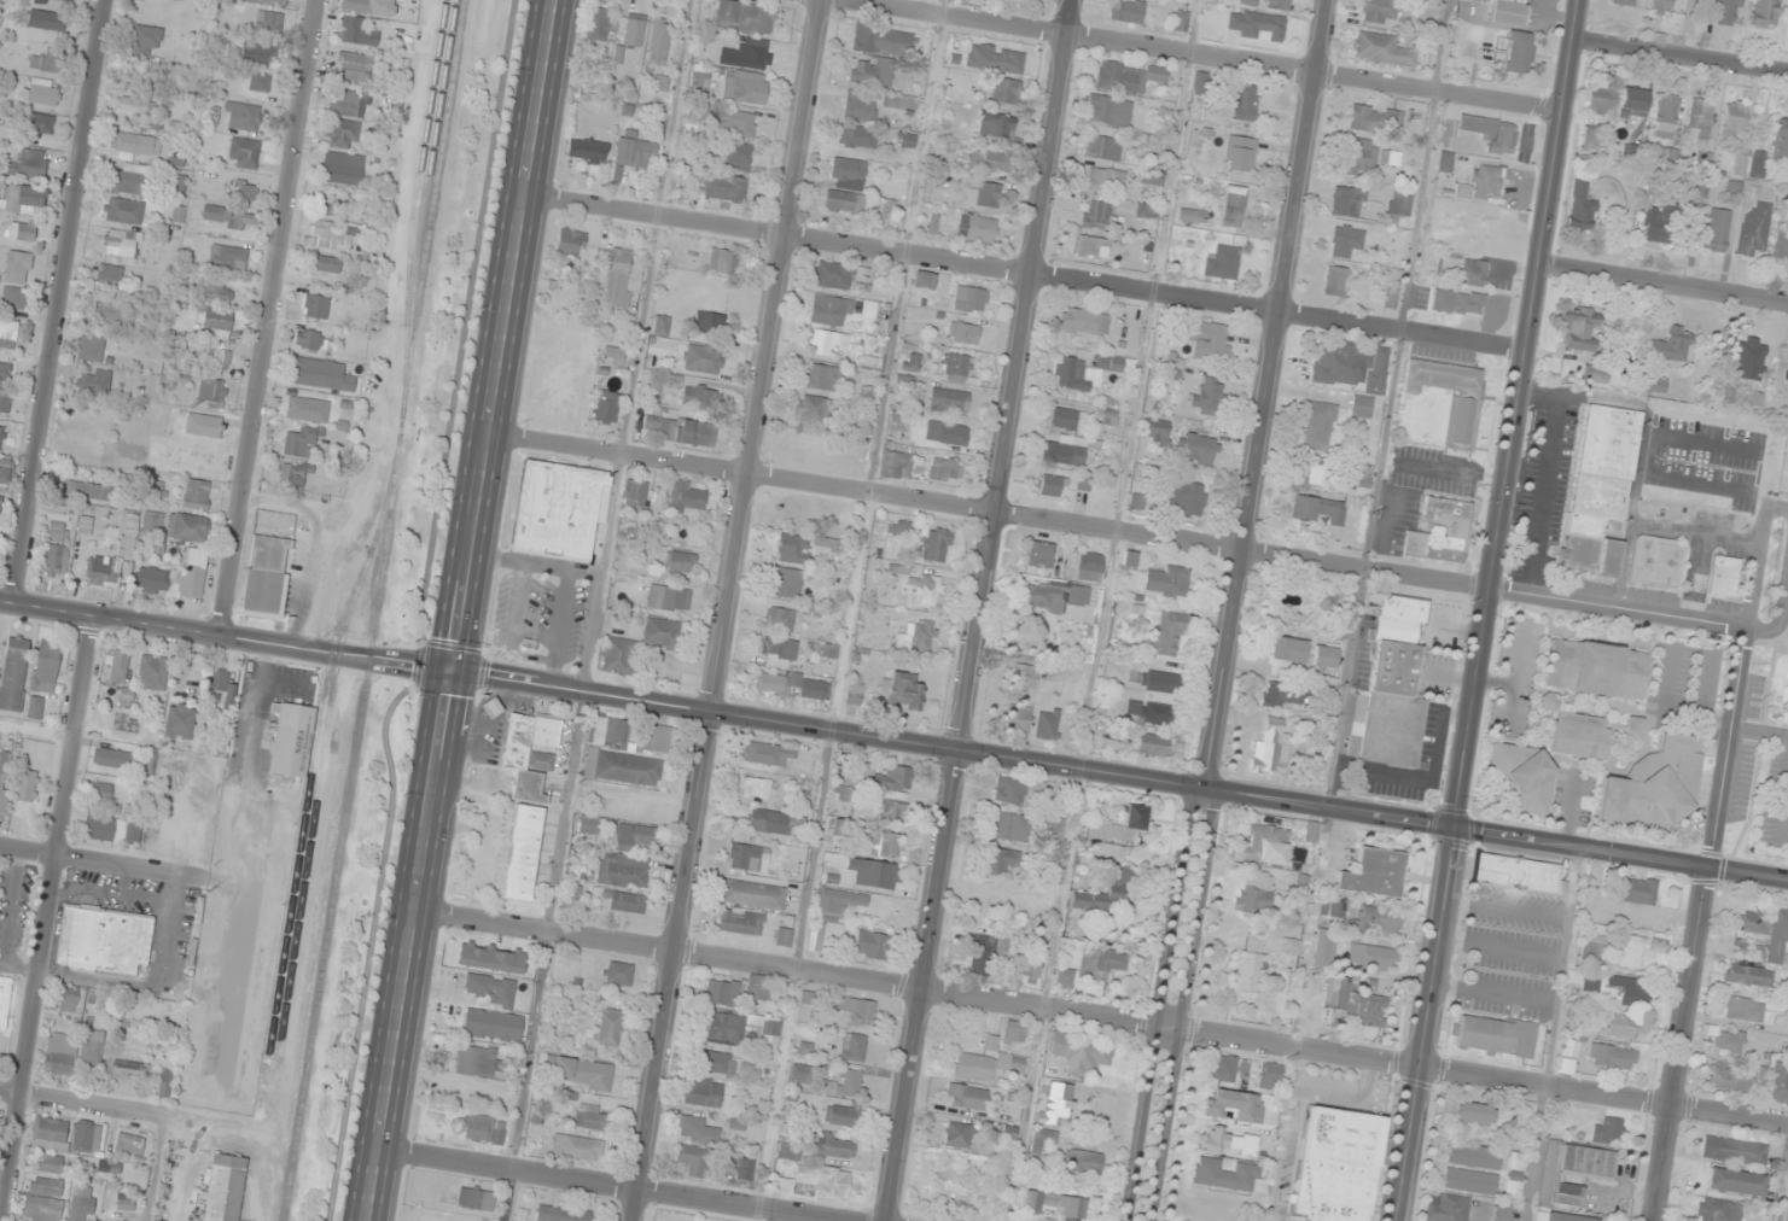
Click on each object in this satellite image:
building: (54, 1)
building: (264, 1)
building: (1623, 1)
building: (1268, 4)
building: (1664, 5)
building: (368, 6)
building: (1126, 11)
building: (1379, 11)
building: (1509, 11)
building: (1728, 12)
building: (1764, 12)
building: (744, 16)
building: (1178, 19)
building: (46, 21)
building: (267, 22)
building: (599, 24)
building: (1265, 27)
building: (635, 30)
building: (356, 31)
building: (146, 36)
building: (883, 40)
building: (659, 41)
building: (1381, 49)
building: (1518, 52)
building: (257, 53)
building: (747, 53)
road: (1196, 55)
road: (1681, 55)
building: (990, 59)
building: (43, 63)
building: (353, 65)
building: (870, 71)
building: (148, 72)
building: (700, 75)
building: (1126, 76)
building: (258, 81)
building: (745, 87)
building: (1006, 90)
building: (43, 92)
building: (1600, 98)
building: (346, 103)
building: (1245, 103)
building: (1632, 103)
building: (136, 105)
building: (860, 105)
building: (1108, 110)
building: (241, 116)
building: (1699, 117)
building: (1375, 119)
building: (1734, 119)
building: (740, 123)
building: (33, 124)
building: (996, 128)
building: (1492, 133)
building: (342, 134)
building: (857, 136)
building: (905, 140)
building: (1781, 140)
building: (136, 145)
building: (1105, 147)
building: (589, 150)
building: (634, 152)
building: (243, 153)
building: (1240, 153)
building: (1363, 156)
building: (738, 157)
building: (1391, 157)
building: (1741, 159)
building: (989, 160)
building: (1445, 160)
building: (1757, 163)
building: (29, 164)
building: (342, 168)
building: (848, 174)
building: (129, 179)
building: (1105, 180)
building: (1485, 181)
building: (244, 189)
building: (726, 191)
building: (983, 194)
building: (22, 198)
building: (1347, 201)
building: (843, 203)
building: (1397, 203)
building: (336, 204)
building: (1231, 206)
building: (1582, 208)
building: (1146, 209)
building: (123, 210)
building: (1097, 214)
building: (1192, 215)
building: (1656, 227)
building: (977, 228)
building: (1754, 228)
building: (1717, 229)
building: (22, 230)
building: (325, 234)
building: (1345, 241)
building: (120, 243)
building: (571, 243)
building: (1780, 243)
building: (1090, 246)
building: (228, 257)
building: (722, 262)
building: (325, 263)
building: (1223, 263)
building: (17, 267)
building: (1474, 273)
building: (833, 275)
road: (1024, 275)
building: (107, 277)
building: (619, 277)
building: (924, 280)
building: (1336, 280)
road: (1664, 284)
building: (219, 292)
building: (13, 297)
building: (971, 299)
road: (58, 302)
building: (1467, 303)
building: (316, 306)
building: (831, 310)
building: (112, 314)
road: (267, 319)
building: (709, 321)
building: (1084, 321)
building: (214, 322)
building: (662, 325)
building: (1579, 328)
building: (7, 333)
building: (962, 333)
building: (309, 339)
building: (1207, 339)
building: (829, 341)
building: (1672, 345)
building: (91, 347)
building: (616, 355)
building: (210, 357)
building: (701, 358)
building: (913, 362)
building: (956, 364)
building: (1350, 366)
building: (4, 368)
building: (1091, 372)
building: (1595, 373)
building: (321, 374)
building: (821, 378)
building: (93, 381)
building: (1656, 384)
building: (691, 392)
building: (211, 393)
building: (1205, 396)
building: (5, 399)
building: (949, 401)
building: (607, 405)
building: (1361, 407)
building: (307, 409)
building: (811, 409)
building: (1065, 419)
building: (898, 421)
building: (1462, 421)
building: (203, 425)
building: (1320, 426)
building: (678, 430)
building: (1157, 431)
building: (947, 432)
building: (1, 437)
building: (302, 440)
building: (82, 448)
building: (1199, 449)
building: (1071, 451)
building: (896, 465)
building: (943, 469)
building: (5, 473)
building: (292, 473)
building: (1311, 477)
building: (1363, 483)
building: (1052, 485)
building: (1600, 489)
building: (87, 490)
building: (196, 493)
building: (635, 493)
building: (0, 496)
building: (687, 497)
building: (1187, 497)
building: (557, 509)
building: (1320, 513)
building: (83, 525)
building: (152, 526)
building: (191, 527)
road: (1117, 531)
building: (1442, 532)
building: (826, 543)
building: (934, 544)
building: (792, 548)
building: (1039, 554)
building: (52, 560)
building: (105, 561)
building: (681, 562)
building: (1655, 562)
building: (1084, 566)
building: (175, 577)
building: (267, 577)
building: (1718, 579)
building: (1166, 580)
building: (786, 582)
building: (925, 590)
road: (1751, 592)
building: (1055, 596)
building: (668, 598)
road: (728, 609)
railway: (375, 610)
road: (461, 610)
road: (980, 610)
road: (1234, 610)
road: (1486, 610)
building: (779, 618)
building: (662, 633)
building: (1169, 633)
building: (918, 636)
building: (1288, 649)
building: (779, 653)
building: (618, 656)
building: (1323, 659)
building: (46, 666)
building: (117, 666)
building: (1595, 668)
building: (13, 672)
building: (151, 672)
traffic signals: (452, 672)
building: (1023, 679)
building: (1160, 682)
building: (223, 687)
building: (770, 688)
building: (1391, 689)
building: (902, 690)
building: (1272, 697)
building: (1786, 700)
building: (35, 707)
building: (490, 707)
building: (1148, 712)
building: (115, 719)
building: (179, 720)
building: (1017, 720)
building: (1047, 724)
building: (1632, 729)
road: (1758, 730)
building: (1574, 731)
building: (610, 732)
railway: (322, 737)
building: (291, 738)
building: (657, 738)
road: (893, 741)
building: (1153, 744)
building: (1270, 748)
building: (530, 753)
building: (767, 753)
traffic signals: (960, 753)
building: (115, 760)
building: (622, 769)
building: (1524, 776)
building: (1655, 784)
building: (25, 785)
building: (755, 788)
building: (1011, 790)
building: (893, 791)
building: (4, 793)
building: (101, 794)
road: (1784, 810)
building: (776, 822)
building: (588, 824)
building: (1009, 826)
building: (112, 828)
building: (1120, 828)
traffic signals: (1452, 830)
building: (840, 832)
building: (1311, 832)
building: (633, 837)
building: (880, 843)
building: (1264, 845)
building: (522, 853)
building: (745, 857)
building: (997, 861)
road: (106, 864)
building: (622, 871)
building: (874, 874)
building: (1374, 874)
building: (1518, 876)
building: (1637, 890)
building: (752, 894)
building: (1254, 894)
building: (1100, 896)
building: (627, 901)
building: (831, 911)
road: (1505, 912)
road: (47, 917)
building: (1379, 921)
building: (1753, 921)
building: (740, 922)
road: (1700, 923)
building: (784, 936)
building: (1778, 937)
building: (104, 940)
building: (870, 945)
building: (1291, 946)
building: (1595, 947)
building: (1749, 948)
building: (1326, 952)
road: (1501, 952)
building: (1638, 952)
building: (984, 953)
building: (1373, 957)
parking lot: (1513, 957)
building: (490, 959)
building: (1100, 964)
road: (1565, 968)
building: (1251, 969)
building: (618, 974)
building: (1749, 975)
building: (1065, 977)
building: (758, 987)
building: (489, 989)
building: (722, 992)
road: (1493, 998)
building: (5, 1001)
building: (71, 1003)
building: (1743, 1009)
building: (857, 1011)
building: (1363, 1012)
road: (1101, 1017)
building: (1621, 1026)
building: (608, 1027)
building: (723, 1028)
building: (1015, 1032)
building: (1483, 1034)
building: (770, 1036)
building: (1730, 1041)
building: (92, 1047)
building: (852, 1047)
building: (1081, 1048)
building: (59, 1056)
building: (1611, 1056)
building: (1567, 1058)
building: (474, 1061)
building: (717, 1063)
building: (985, 1065)
building: (126, 1068)
building: (1223, 1068)
building: (1271, 1071)
building: (582, 1074)
building: (1731, 1081)
building: (848, 1082)
building: (1780, 1082)
building: (164, 1083)
building: (703, 1093)
building: (966, 1097)
building: (1056, 1104)
road: (85, 1106)
building: (1525, 1114)
building: (843, 1115)
building: (1473, 1115)
building: (588, 1116)
building: (484, 1129)
building: (697, 1129)
building: (1606, 1131)
building: (51, 1134)
building: (957, 1135)
building: (1047, 1137)
building: (86, 1138)
building: (1216, 1140)
building: (127, 1145)
building: (576, 1147)
building: (832, 1147)
building: (1248, 1147)
building: (788, 1151)
building: (1734, 1151)
building: (1474, 1156)
building: (691, 1158)
building: (1082, 1162)
building: (52, 1164)
building: (1336, 1165)
building: (107, 1167)
building: (1572, 1172)
building: (745, 1174)
building: (1514, 1175)
building: (823, 1181)
building: (1469, 1181)
building: (1735, 1182)
road: (600, 1186)
building: (225, 1188)
building: (43, 1199)
building: (476, 1199)
building: (126, 1202)
building: (82, 1204)
building: (1055, 1204)
building: (1446, 1208)
building: (1717, 1210)
building: (1499, 1213)
building: (561, 1214)
building: (1559, 1216)

